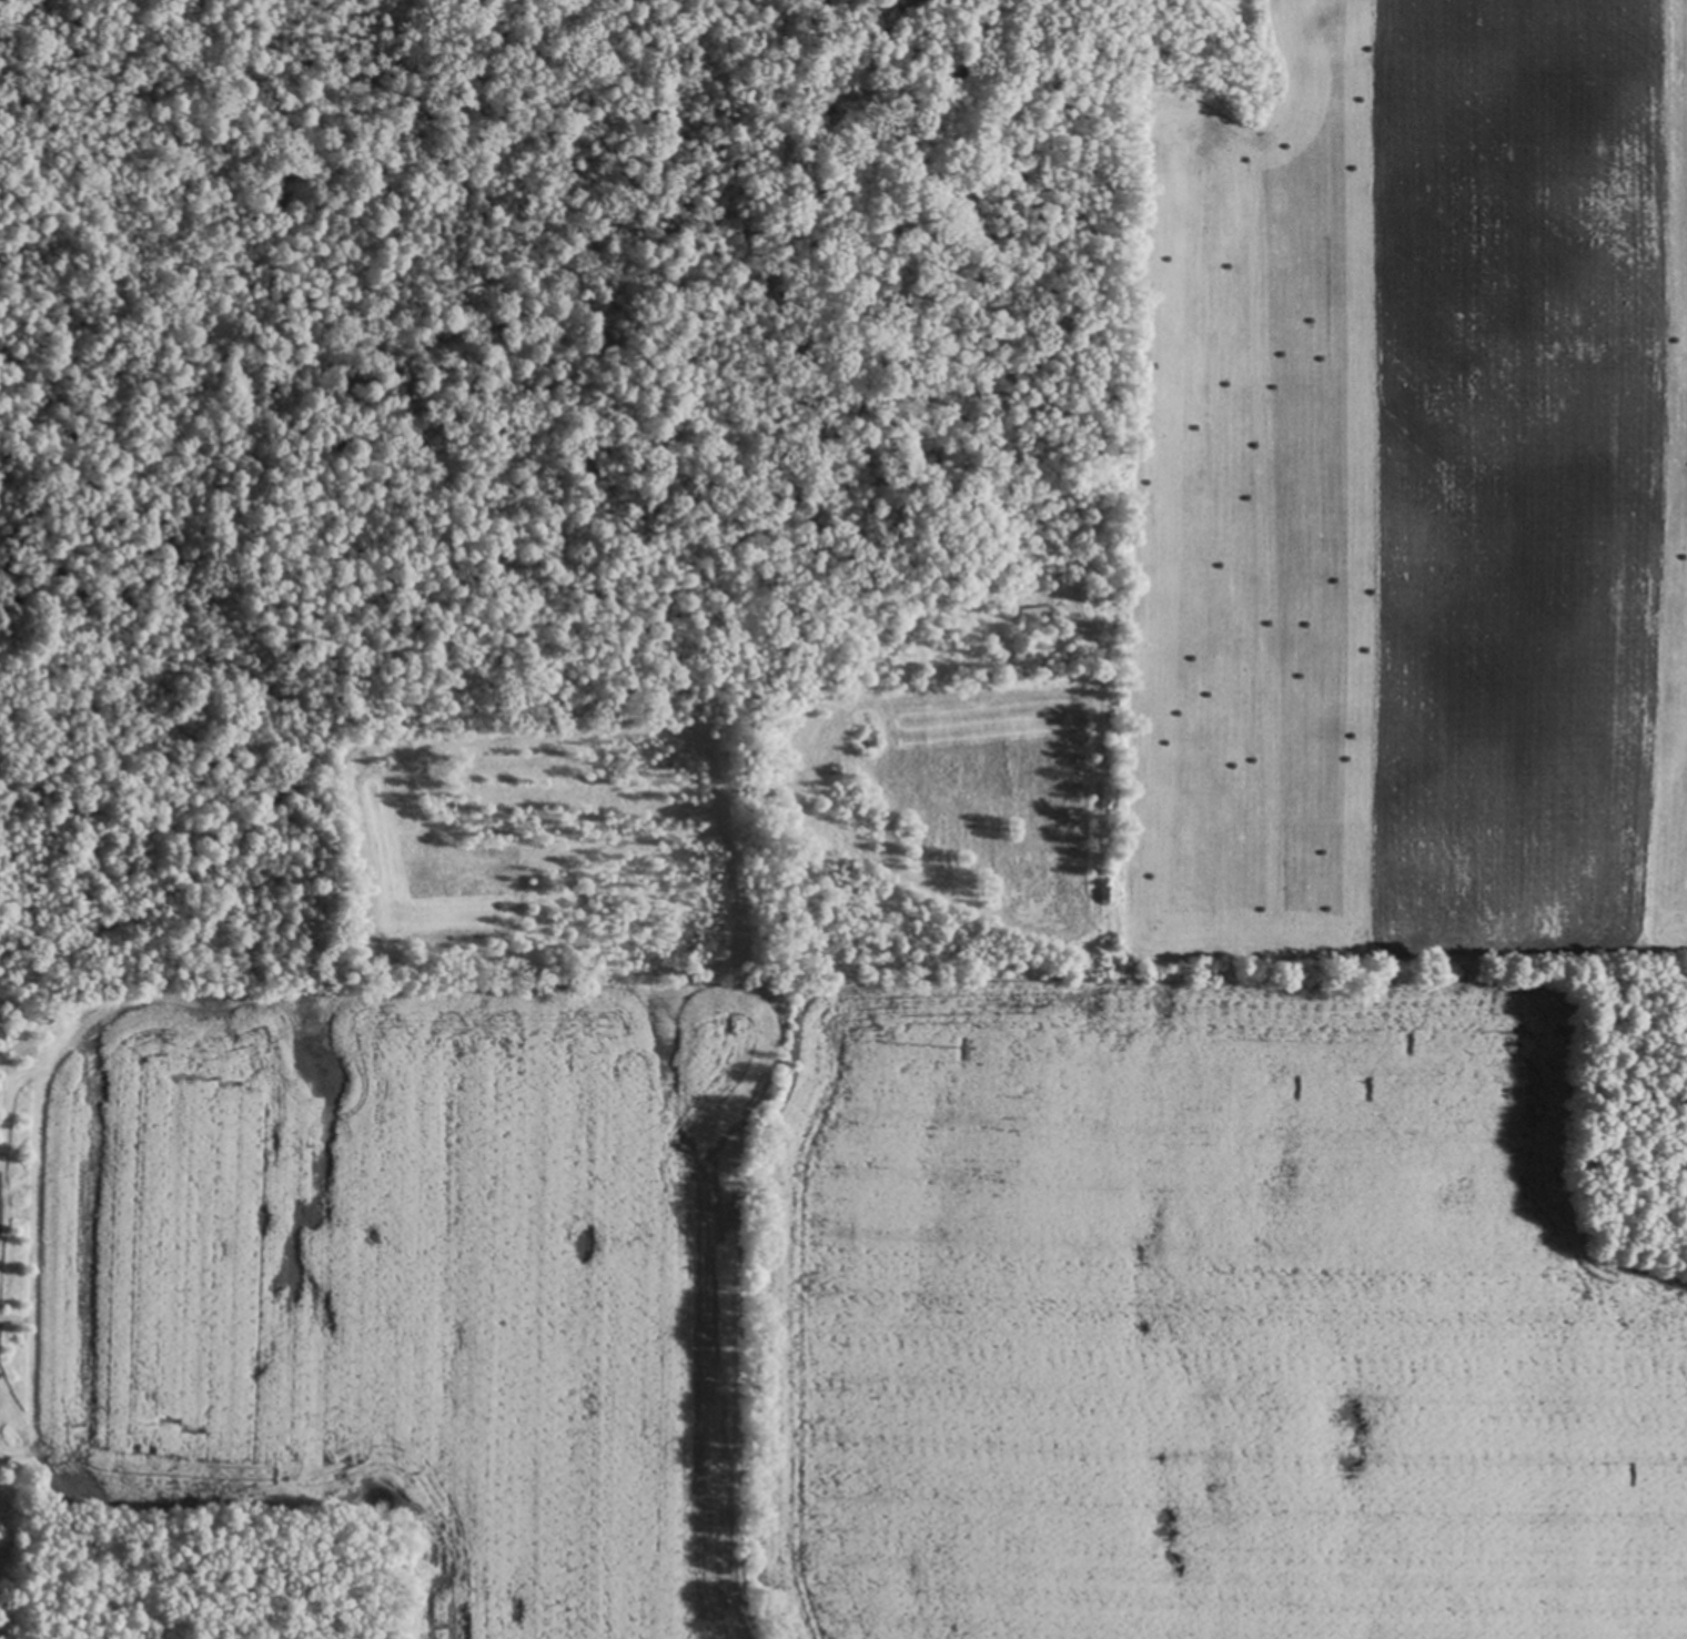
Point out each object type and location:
building: (1037, 609)

